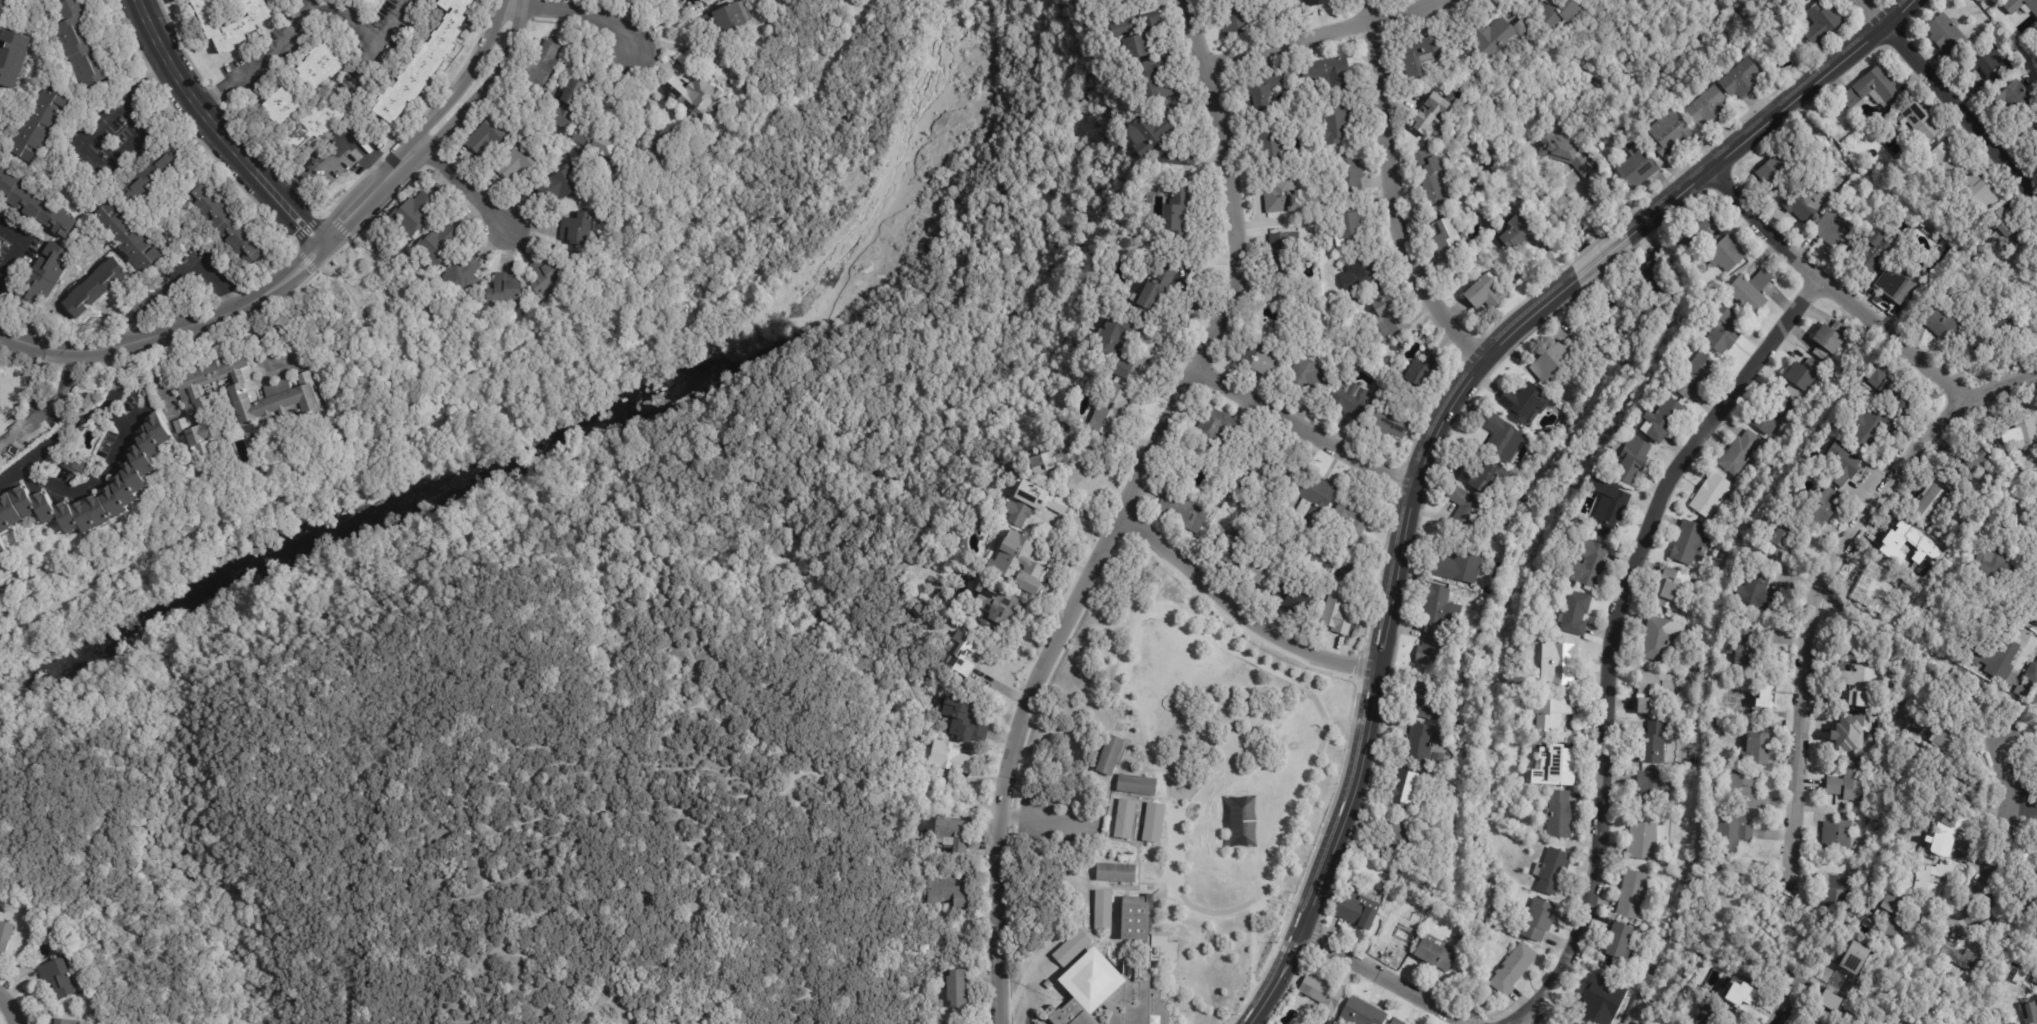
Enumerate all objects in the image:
building: (1988, 0)
building: (371, 1)
building: (1113, 2)
building: (1318, 2)
road: (514, 3)
building: (703, 3)
building: (4, 5)
building: (2020, 5)
road: (585, 13)
road: (1874, 13)
building: (1563, 14)
building: (727, 17)
building: (1234, 17)
building: (1823, 22)
building: (241, 27)
building: (1138, 32)
road: (1311, 34)
building: (1496, 35)
building: (1948, 35)
road: (367, 36)
building: (78, 43)
building: (10, 57)
building: (1422, 57)
road: (261, 61)
building: (423, 64)
building: (541, 64)
building: (1986, 64)
building: (319, 65)
building: (1330, 73)
building: (269, 78)
building: (1744, 80)
building: (1152, 83)
building: (1871, 88)
building: (1267, 92)
building: (693, 96)
building: (2019, 97)
building: (567, 105)
building: (281, 107)
building: (1711, 108)
building: (0, 110)
road: (1959, 111)
building: (1829, 112)
building: (1434, 116)
road: (1771, 117)
building: (1912, 120)
building: (312, 125)
building: (1336, 125)
building: (41, 126)
road: (219, 130)
road: (421, 130)
building: (1671, 134)
building: (668, 137)
road: (437, 138)
building: (485, 138)
building: (1272, 141)
building: (1159, 143)
building: (595, 144)
road: (331, 151)
road: (77, 152)
building: (1565, 152)
building: (649, 156)
building: (519, 160)
building: (1949, 161)
park: (1515, 167)
building: (1639, 168)
building: (1349, 173)
building: (1774, 174)
building: (149, 175)
building: (1432, 180)
building: (559, 185)
road: (467, 189)
building: (1982, 193)
road: (1390, 194)
building: (1283, 196)
building: (34, 206)
building: (1803, 206)
building: (411, 215)
building: (2001, 216)
building: (1179, 217)
building: (224, 224)
building: (1351, 227)
building: (1835, 228)
building: (577, 230)
building: (1695, 231)
building: (1515, 233)
building: (2014, 235)
building: (127, 236)
building: (1449, 242)
building: (438, 244)
road: (18, 246)
building: (1874, 252)
building: (1281, 253)
road: (1602, 255)
building: (1726, 255)
road: (680, 259)
road: (1239, 267)
building: (1359, 273)
building: (461, 274)
road: (176, 275)
building: (44, 277)
building: (543, 280)
building: (1661, 280)
building: (1902, 286)
building: (93, 288)
building: (506, 290)
building: (1748, 292)
building: (1155, 293)
building: (1487, 296)
road: (1860, 311)
building: (1390, 317)
building: (1945, 324)
road: (169, 329)
building: (1725, 330)
road: (260, 331)
building: (2004, 333)
building: (1831, 341)
building: (1116, 345)
building: (1260, 362)
building: (1554, 362)
road: (66, 368)
road: (76, 370)
road: (159, 372)
building: (1417, 373)
building: (1309, 376)
building: (1696, 376)
building: (1802, 377)
building: (1885, 384)
building: (1865, 388)
building: (1349, 398)
road: (55, 399)
building: (238, 400)
building: (1524, 404)
building: (1906, 409)
building: (1111, 410)
building: (1770, 416)
building: (1390, 417)
road: (133, 418)
building: (1664, 421)
road: (23, 425)
building: (1869, 428)
road: (1302, 429)
building: (1220, 430)
building: (1501, 436)
building: (2023, 436)
road: (63, 437)
building: (1742, 454)
building: (1633, 459)
road: (103, 460)
building: (1051, 460)
building: (1974, 462)
building: (74, 464)
building: (1845, 465)
building: (1269, 471)
building: (134, 474)
building: (1484, 478)
road: (305, 483)
building: (1713, 497)
building: (1031, 501)
building: (1314, 501)
building: (1931, 505)
building: (1826, 509)
building: (1467, 511)
building: (1182, 513)
building: (1613, 515)
building: (1353, 520)
building: (2021, 520)
road: (494, 525)
building: (1993, 526)
building: (1985, 534)
building: (1786, 538)
building: (1691, 544)
building: (1229, 546)
building: (2, 547)
building: (1017, 557)
building: (1588, 564)
building: (1997, 566)
building: (1459, 567)
building: (1266, 571)
building: (1758, 585)
building: (1672, 590)
building: (982, 592)
park: (587, 593)
building: (1295, 599)
building: (1440, 607)
building: (1002, 611)
building: (1338, 612)
road: (1236, 613)
building: (1576, 615)
road: (1810, 618)
road: (1381, 633)
road: (1612, 634)
building: (1661, 637)
road: (688, 638)
building: (1852, 640)
building: (1750, 644)
building: (1433, 648)
building: (957, 652)
building: (2002, 657)
building: (1646, 661)
building: (1564, 663)
building: (1657, 683)
building: (1862, 684)
building: (1767, 691)
building: (2035, 693)
building: (1426, 701)
road: (83, 703)
building: (1649, 705)
building: (1553, 716)
road: (554, 719)
building: (964, 720)
building: (1715, 721)
park: (1170, 729)
building: (1849, 732)
building: (1943, 735)
building: (1867, 740)
building: (1423, 743)
building: (1652, 743)
road: (730, 744)
building: (1759, 749)
road: (765, 750)
building: (1110, 754)
building: (946, 758)
road: (1015, 758)
building: (1561, 764)
road: (693, 766)
road: (843, 776)
building: (1850, 782)
building: (1960, 782)
building: (1137, 785)
building: (1408, 788)
building: (1745, 789)
building: (1653, 790)
road: (784, 791)
road: (951, 794)
road: (800, 798)
road: (2023, 802)
building: (1560, 814)
road: (578, 815)
road: (1047, 816)
parking lot: (1054, 819)
building: (1125, 819)
building: (1244, 822)
road: (2001, 822)
building: (1154, 823)
building: (1398, 829)
road: (680, 832)
building: (1952, 832)
building: (1733, 834)
building: (953, 835)
building: (1839, 835)
building: (1643, 841)
building: (1876, 854)
building: (2029, 858)
building: (1909, 868)
building: (1552, 871)
building: (1116, 872)
road: (485, 879)
building: (1924, 881)
building: (1648, 889)
building: (946, 891)
building: (1838, 891)
building: (1632, 895)
building: (1670, 897)
building: (2031, 905)
building: (1356, 908)
building: (1104, 910)
building: (1134, 918)
building: (1539, 920)
building: (1892, 926)
building: (1397, 934)
building: (4, 938)
building: (1619, 940)
building: (1071, 948)
building: (1164, 949)
building: (1436, 955)
building: (1856, 957)
building: (1961, 958)
road: (486, 961)
building: (1514, 968)
road: (1384, 977)
building: (56, 978)
building: (2035, 980)
building: (1048, 985)
building: (956, 989)
building: (1736, 989)
road: (351, 993)
building: (1322, 994)
building: (1109, 995)
building: (1598, 996)
building: (1830, 1001)
road: (9, 1009)
building: (1998, 1010)
road: (1780, 1012)
building: (1362, 1013)
building: (2031, 1013)
building: (1925, 1015)
building: (1719, 1016)
building: (63, 1022)
building: (1397, 1022)
building: (1571, 1022)
building: (1809, 1023)

